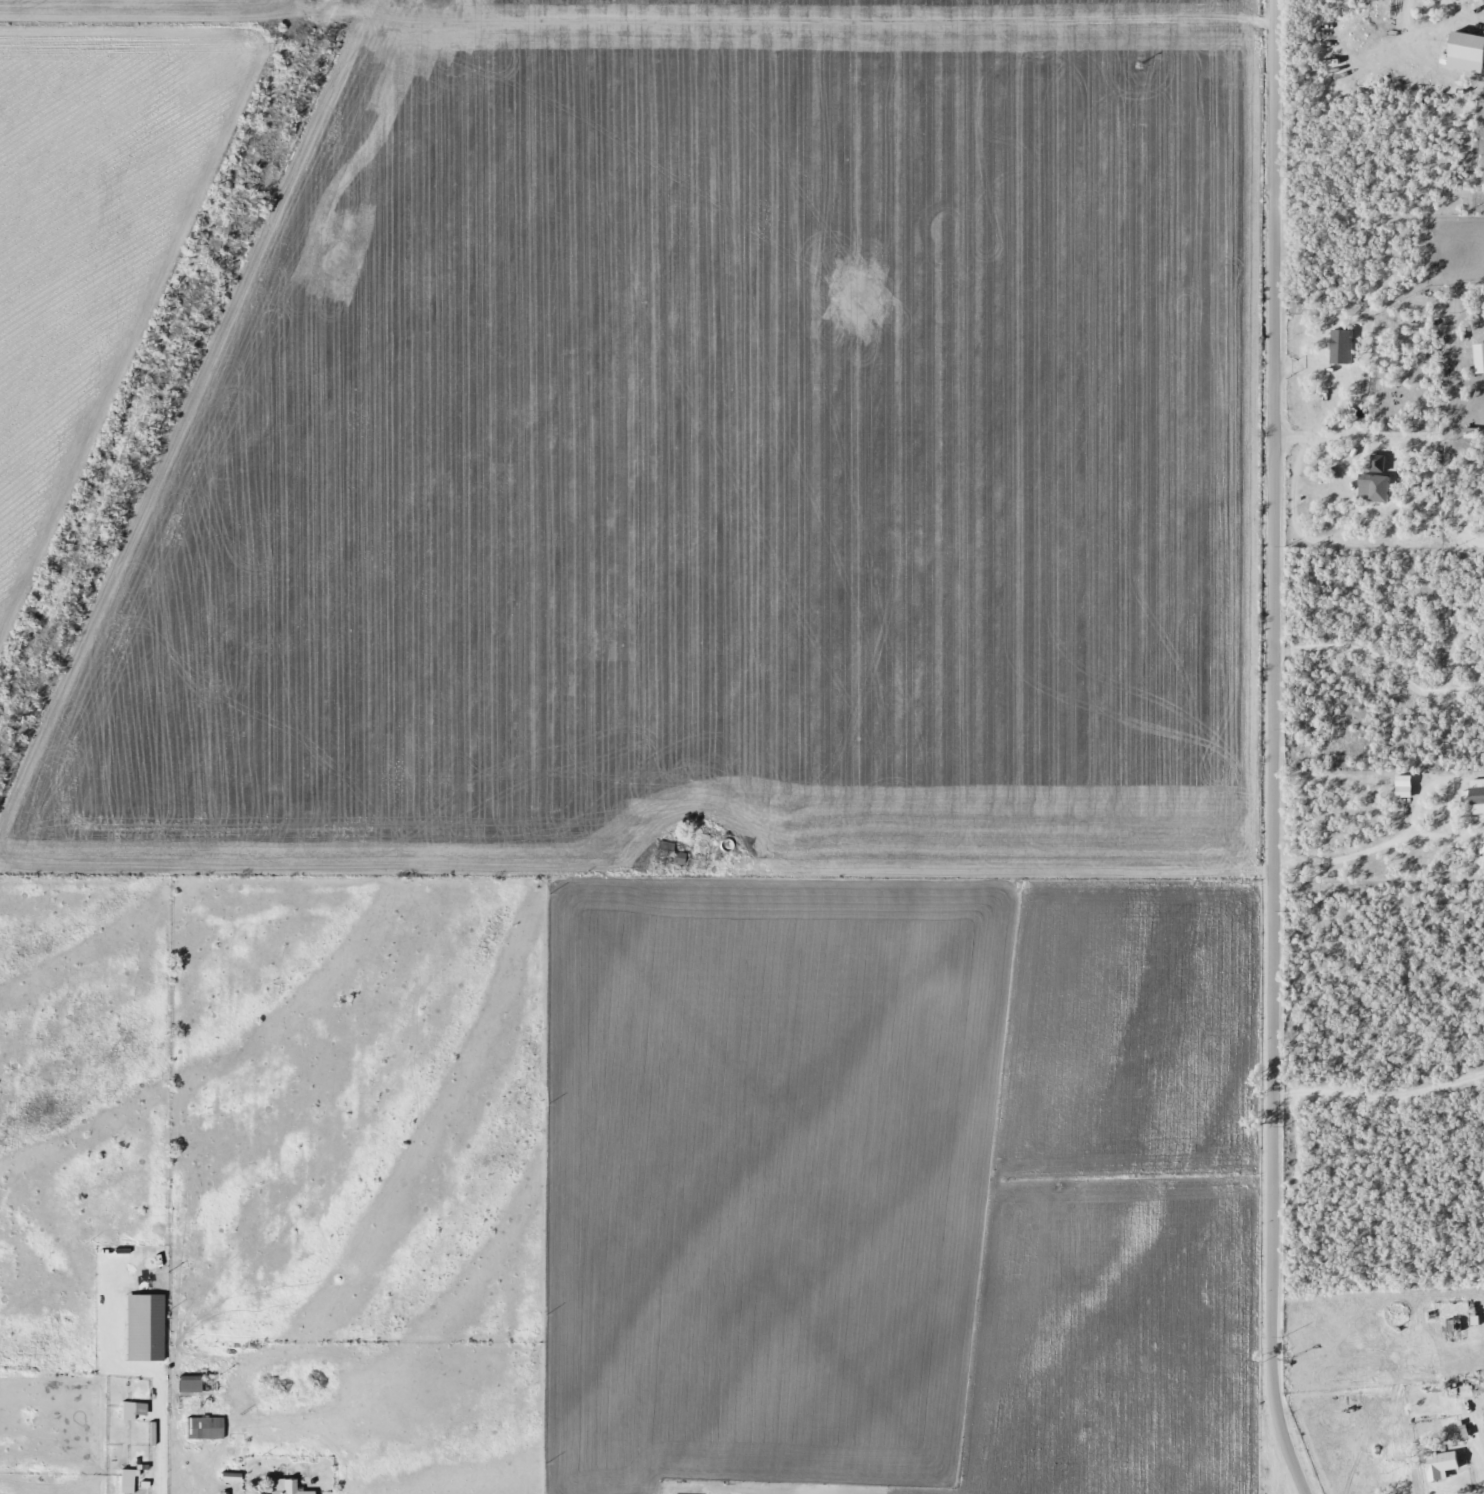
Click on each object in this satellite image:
building: (1468, 51)
building: (1342, 345)
building: (1376, 463)
building: (1374, 489)
road: (1264, 750)
building: (1405, 785)
building: (1475, 795)
building: (666, 845)
building: (1482, 848)
building: (677, 857)
building: (1450, 1326)
building: (144, 1327)
building: (184, 1386)
building: (1460, 1391)
building: (122, 1410)
building: (200, 1428)
building: (1438, 1465)
building: (123, 1481)
building: (282, 1487)

